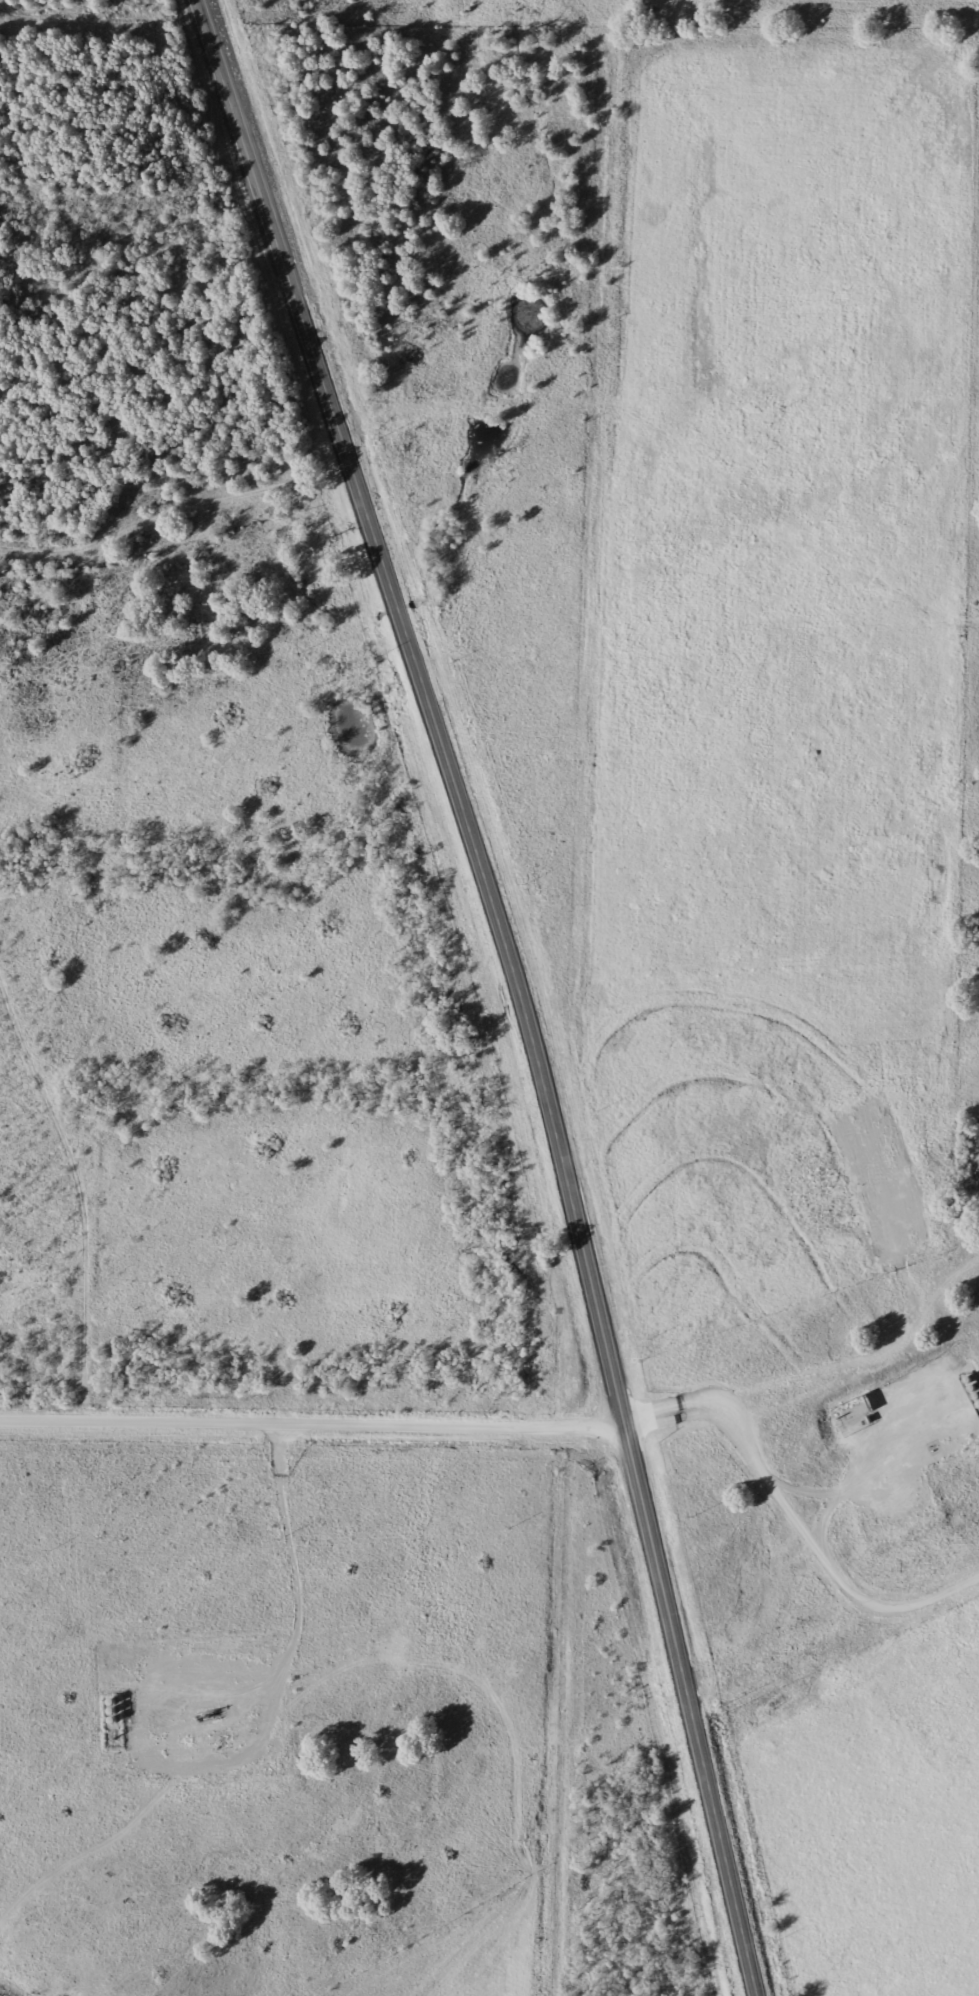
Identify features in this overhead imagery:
road: (204, 677)
road: (514, 987)
road: (313, 1421)
road: (835, 1650)

